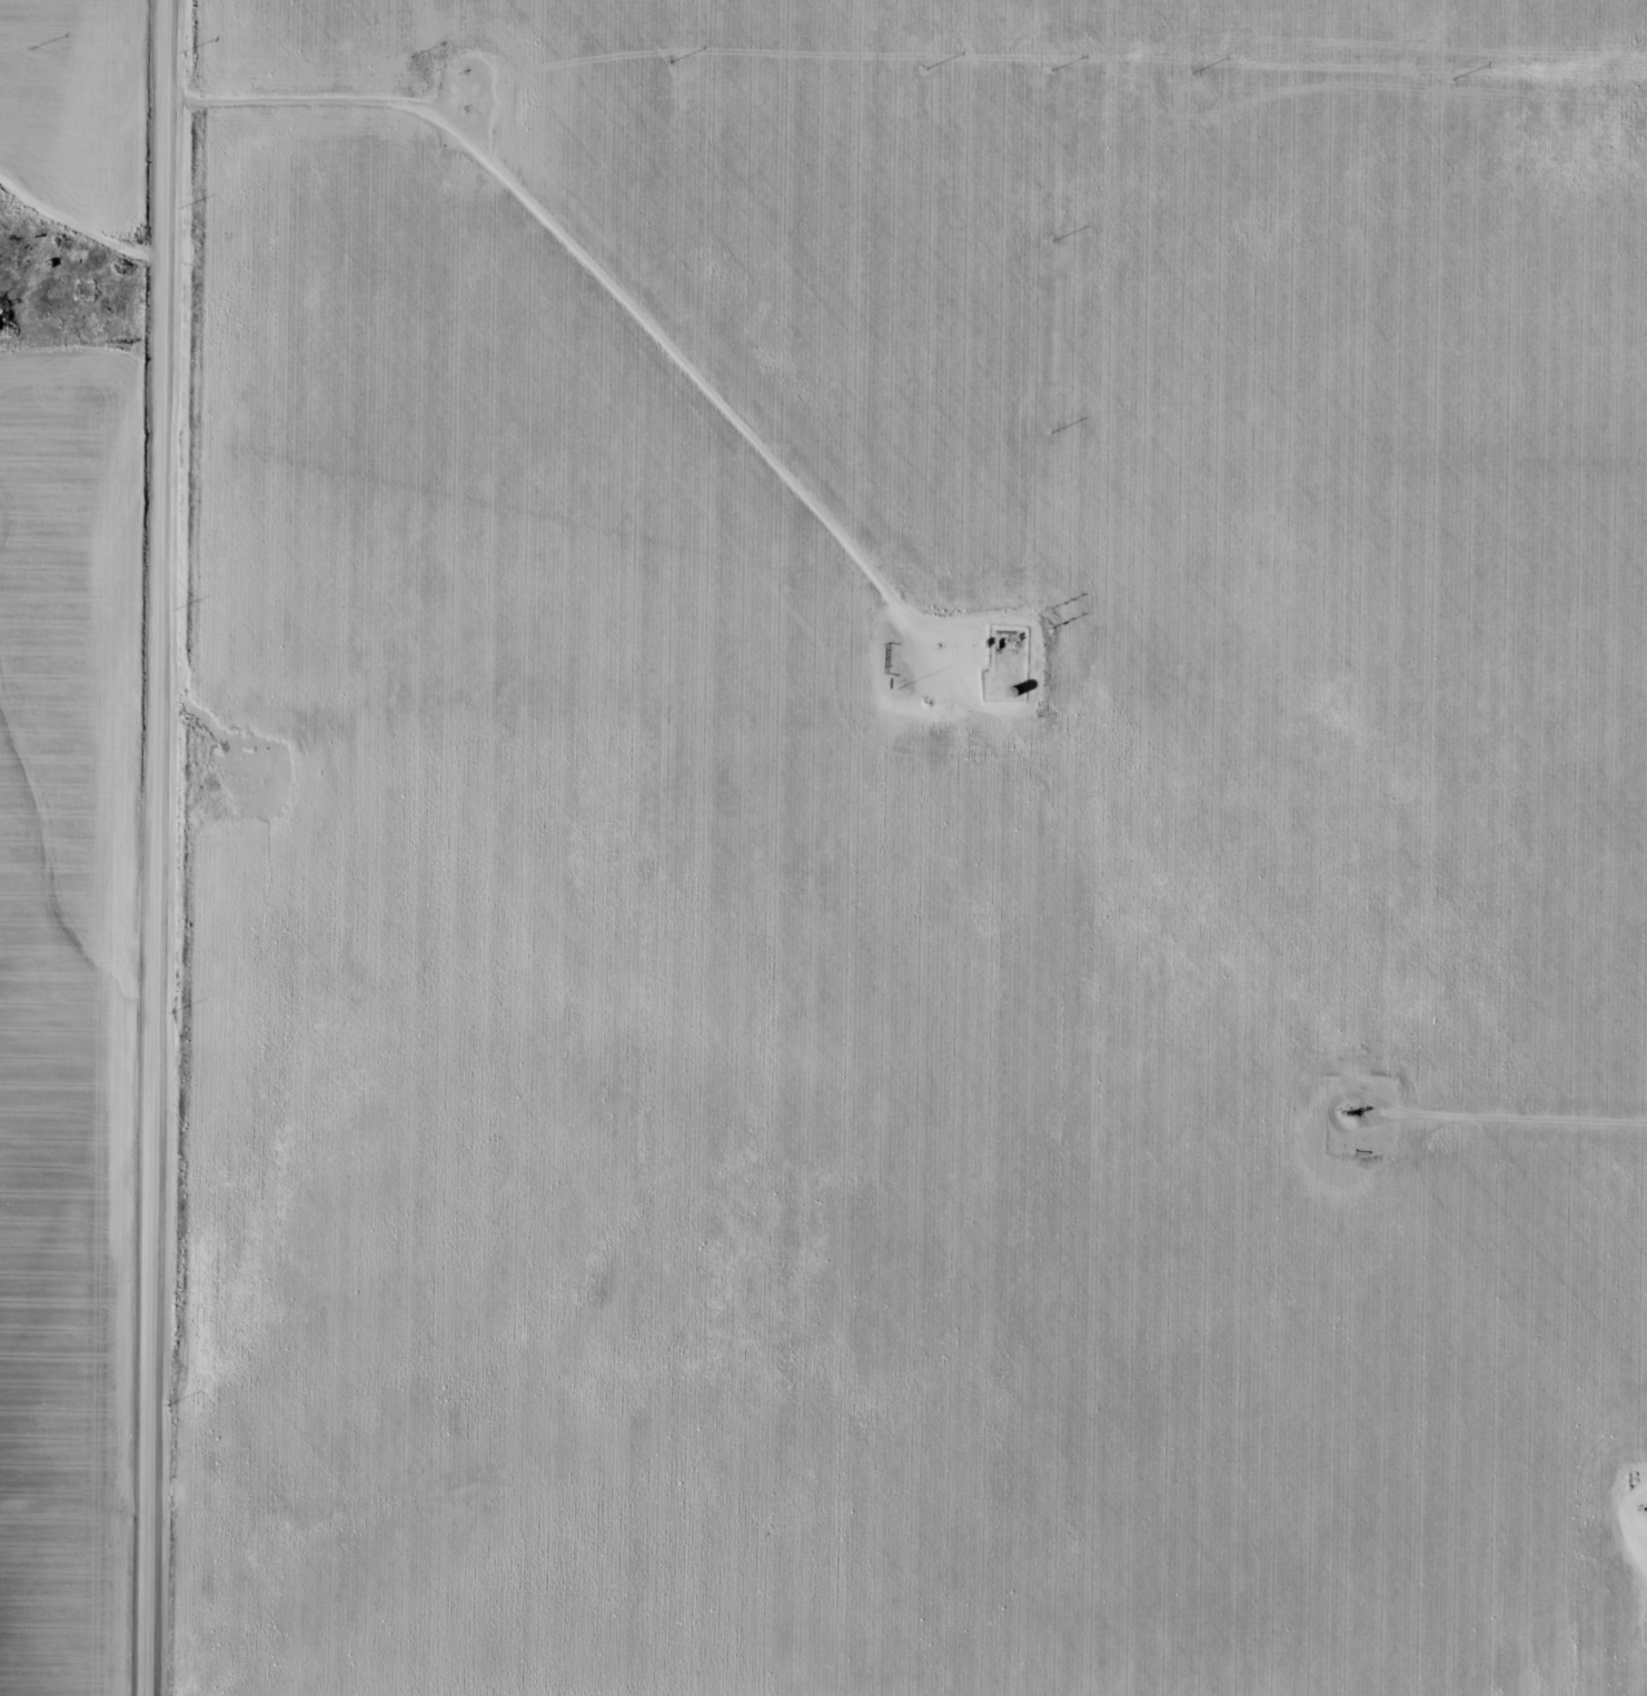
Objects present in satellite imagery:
road: (622, 288)
road: (150, 847)
road: (1552, 1190)

